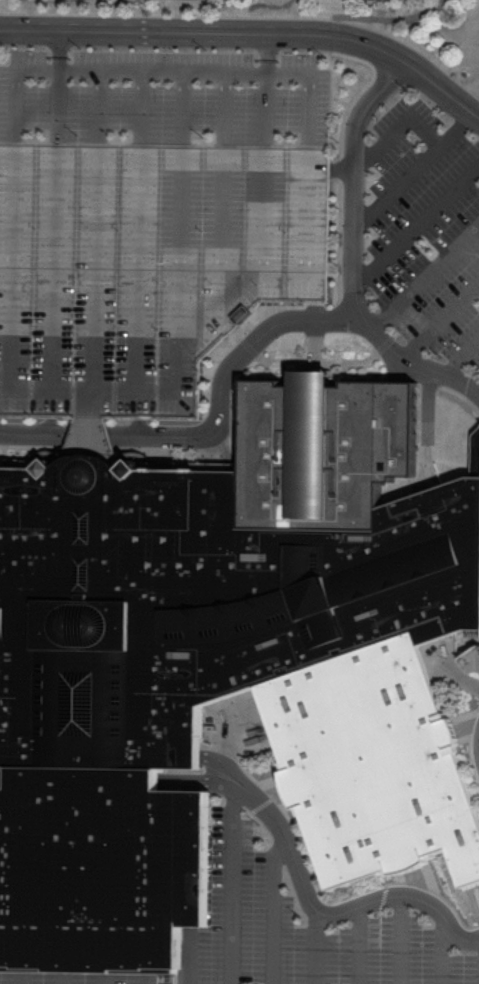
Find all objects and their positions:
road: (390, 18)
road: (251, 32)
road: (60, 50)
road: (268, 53)
road: (163, 72)
road: (59, 108)
road: (100, 108)
road: (142, 109)
road: (184, 109)
road: (225, 110)
road: (267, 110)
road: (398, 126)
road: (340, 149)
road: (414, 168)
road: (266, 210)
parking lot: (151, 218)
road: (224, 224)
road: (417, 224)
parking lot: (425, 234)
road: (182, 244)
road: (353, 251)
road: (56, 266)
road: (98, 266)
road: (140, 267)
building: (145, 267)
parking garage: (145, 267)
road: (425, 274)
road: (440, 317)
road: (402, 325)
road: (314, 344)
road: (462, 356)
road: (329, 360)
building: (313, 377)
road: (313, 377)
road: (139, 388)
road: (7, 390)
road: (455, 393)
road: (90, 402)
road: (212, 422)
road: (90, 434)
road: (106, 445)
road: (90, 450)
building: (324, 450)
road: (426, 451)
building: (475, 453)
road: (171, 454)
road: (31, 457)
road: (220, 458)
road: (149, 460)
road: (100, 461)
building: (195, 601)
road: (477, 649)
road: (478, 672)
road: (466, 676)
road: (467, 726)
road: (101, 741)
road: (473, 743)
road: (101, 751)
road: (224, 762)
building: (375, 763)
road: (5, 774)
road: (85, 775)
road: (199, 777)
road: (191, 783)
road: (254, 808)
road: (95, 811)
road: (94, 854)
road: (189, 858)
building: (100, 869)
road: (414, 877)
parking lot: (103, 880)
road: (231, 882)
road: (316, 886)
road: (473, 903)
road: (272, 910)
road: (381, 912)
road: (22, 913)
road: (331, 913)
road: (64, 914)
road: (106, 914)
road: (148, 914)
parking lot: (298, 929)
road: (400, 939)
road: (358, 944)
road: (315, 947)
road: (441, 953)
road: (188, 955)
road: (20, 978)
road: (62, 979)
road: (104, 979)
road: (146, 979)

